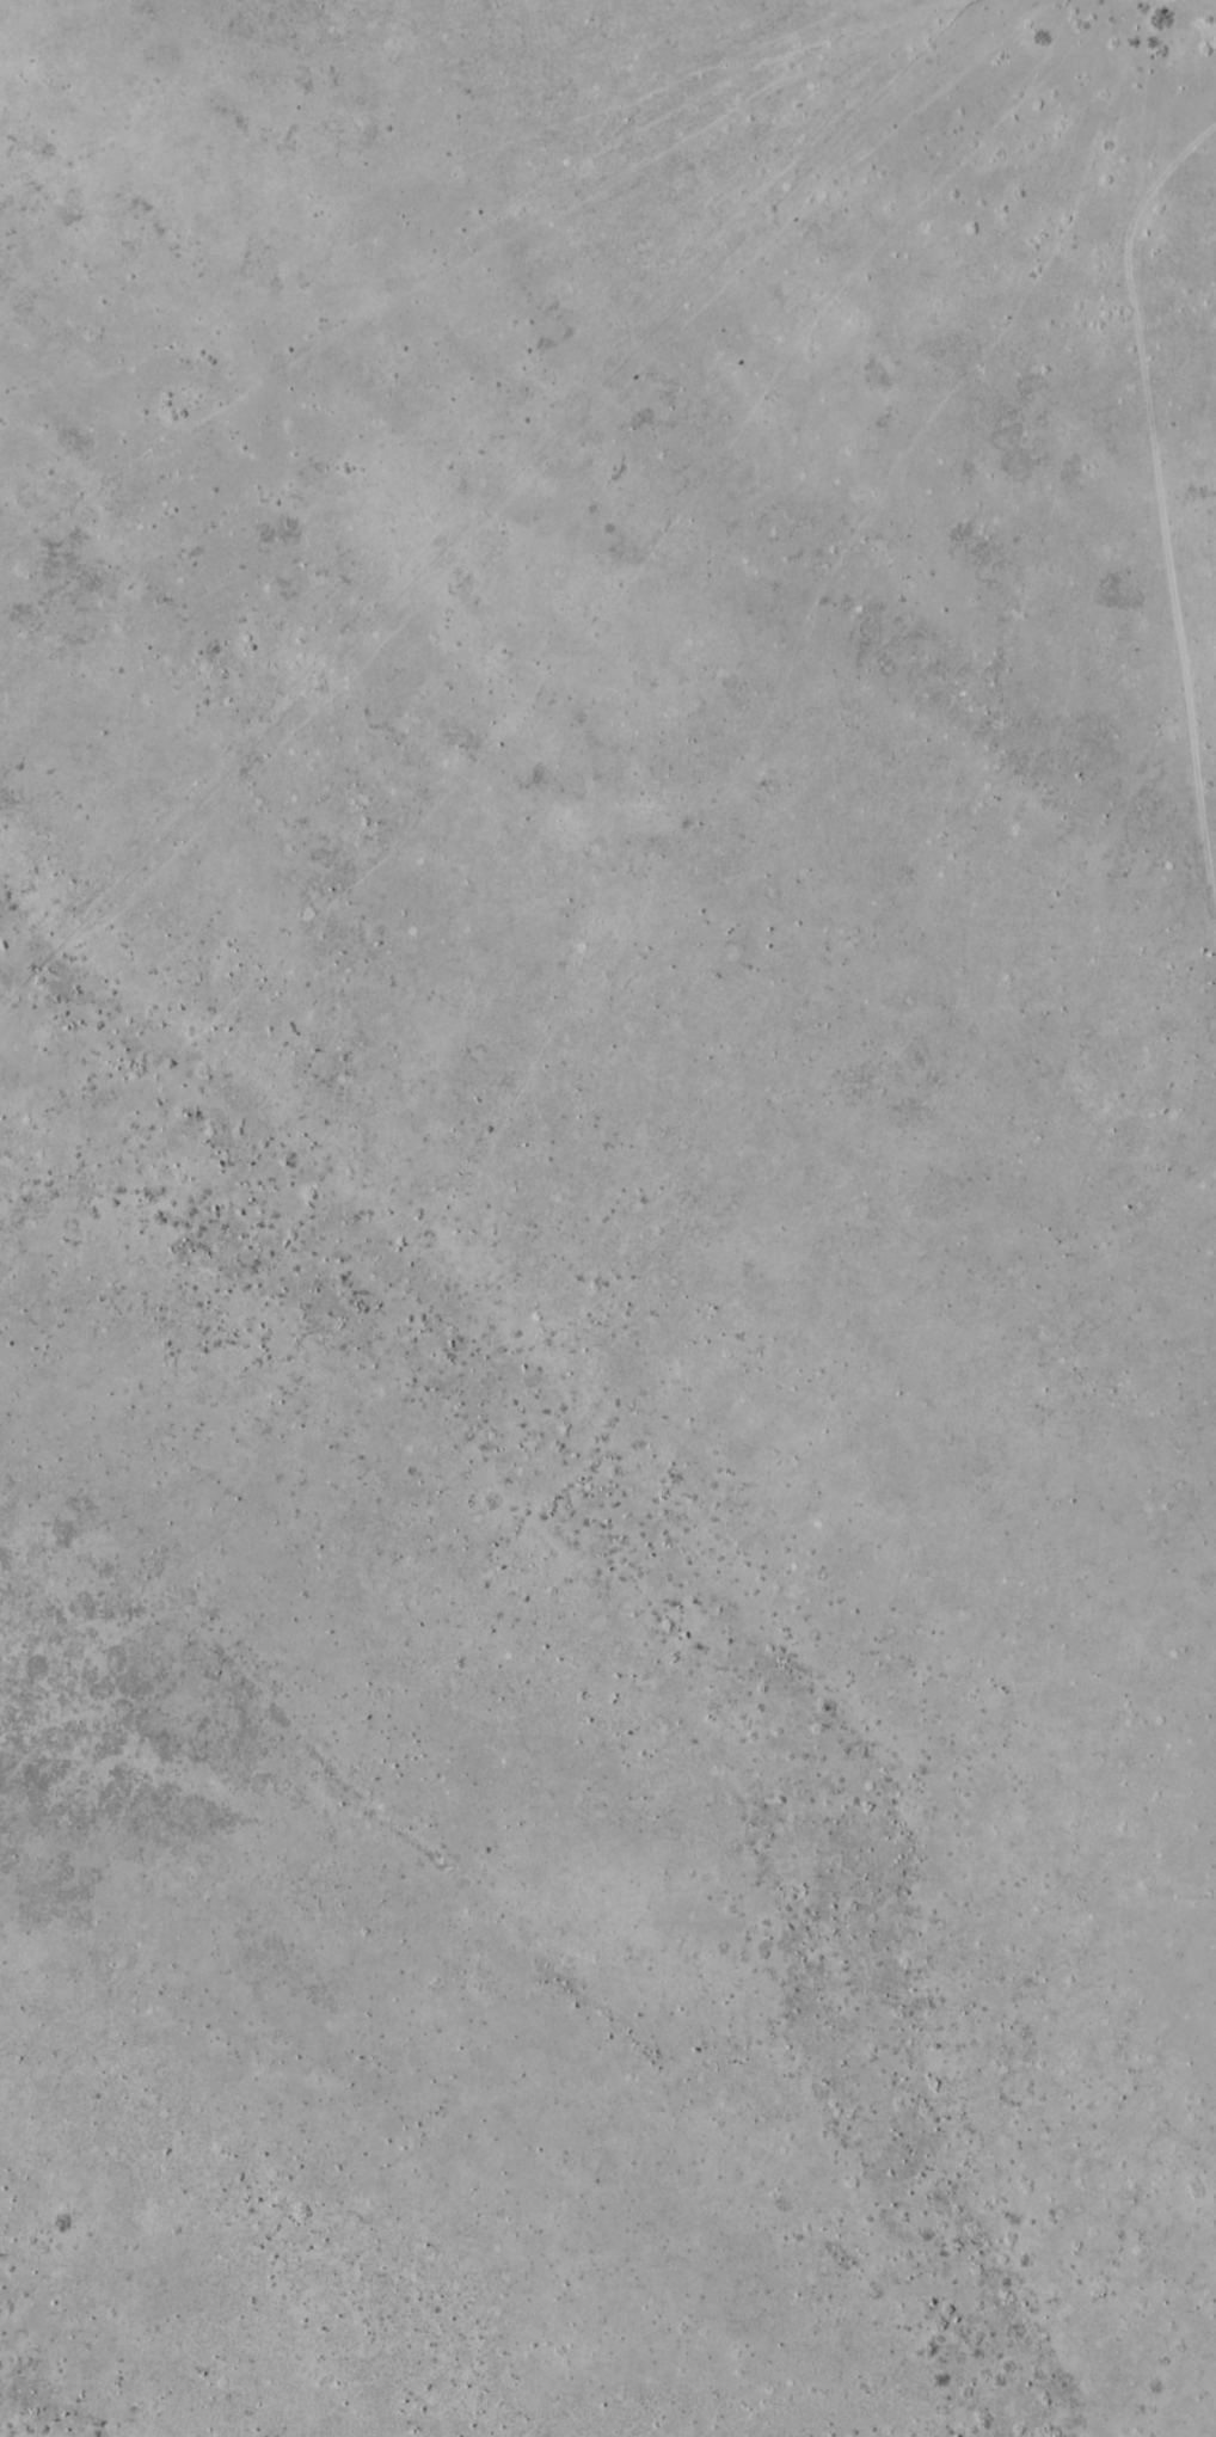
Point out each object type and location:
road: (1209, 757)

